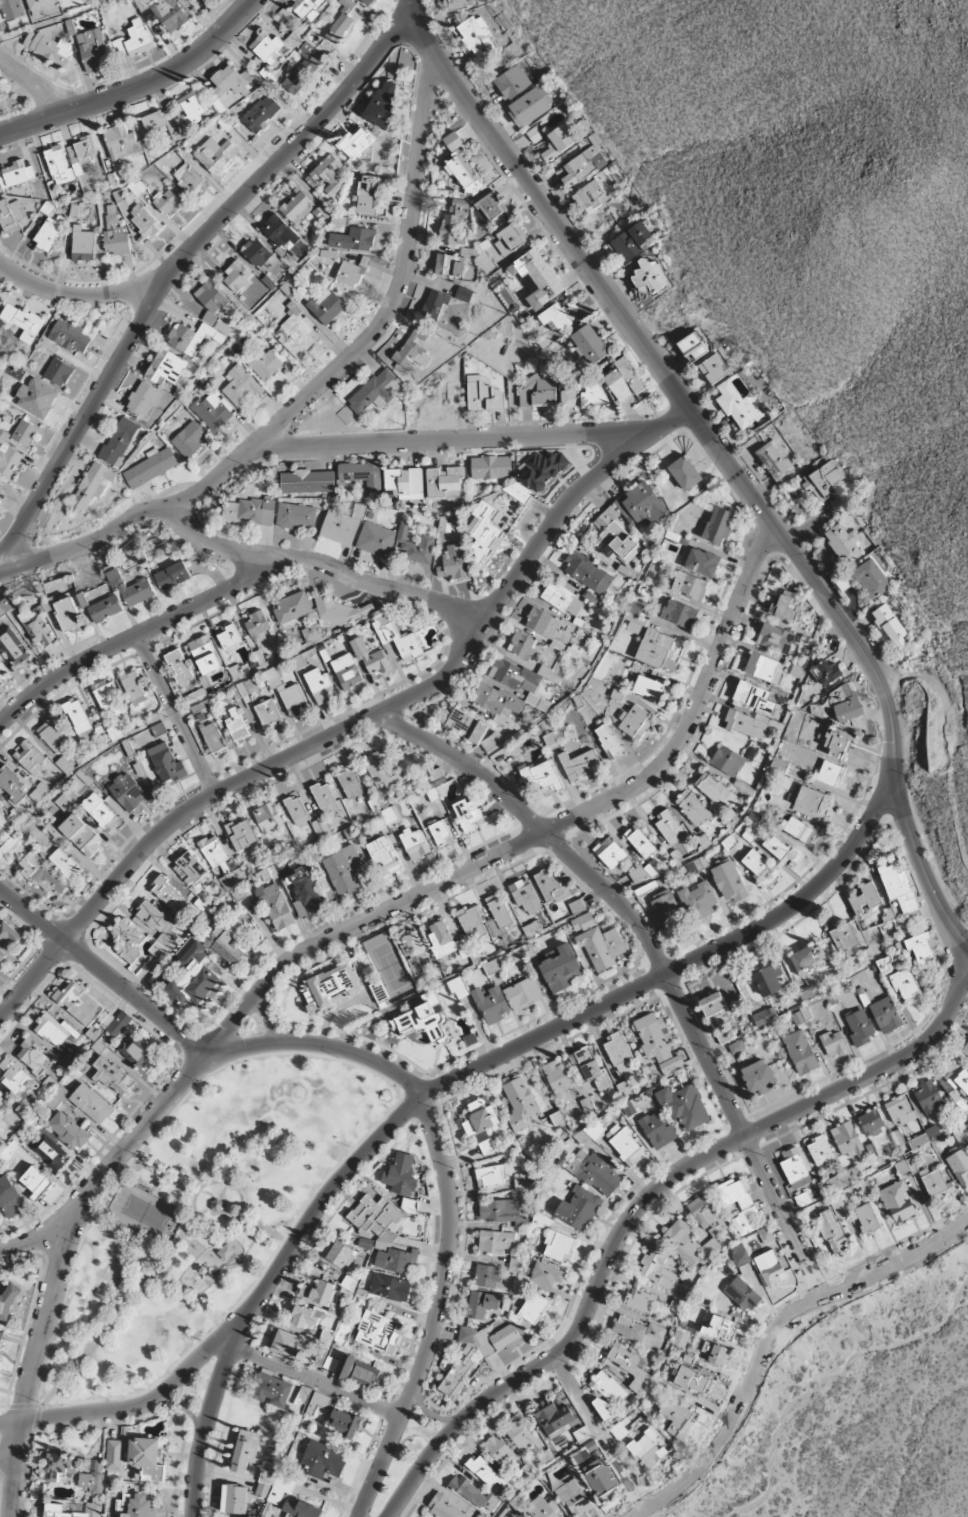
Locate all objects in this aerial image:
building: (193, 0)
building: (205, 0)
building: (368, 1)
building: (456, 3)
building: (39, 6)
building: (308, 7)
building: (11, 9)
building: (165, 12)
road: (56, 19)
building: (341, 23)
building: (477, 37)
building: (134, 39)
building: (267, 47)
building: (49, 48)
building: (93, 49)
building: (304, 68)
building: (232, 80)
building: (512, 82)
road: (32, 85)
road: (138, 87)
building: (382, 102)
building: (530, 105)
building: (193, 106)
building: (260, 113)
building: (161, 123)
building: (535, 134)
building: (121, 142)
building: (557, 142)
building: (356, 143)
building: (81, 153)
building: (216, 155)
building: (584, 163)
building: (58, 165)
building: (462, 165)
building: (17, 174)
building: (328, 175)
building: (370, 196)
building: (591, 196)
building: (168, 202)
building: (492, 205)
building: (297, 206)
building: (11, 215)
building: (145, 221)
building: (453, 223)
building: (280, 232)
building: (48, 233)
building: (115, 236)
building: (510, 238)
building: (353, 239)
building: (631, 240)
building: (83, 244)
building: (257, 253)
road: (175, 264)
building: (449, 264)
road: (1, 267)
building: (535, 268)
building: (350, 273)
building: (237, 276)
building: (649, 278)
road: (73, 293)
building: (464, 294)
building: (210, 296)
building: (435, 303)
building: (327, 306)
building: (555, 318)
building: (23, 321)
building: (214, 322)
building: (296, 331)
building: (70, 335)
building: (192, 337)
building: (590, 344)
building: (692, 347)
building: (414, 350)
building: (265, 361)
building: (167, 367)
building: (713, 369)
building: (59, 372)
building: (623, 379)
road: (317, 385)
building: (240, 386)
building: (537, 391)
building: (375, 392)
building: (483, 394)
building: (583, 396)
building: (37, 397)
building: (144, 399)
building: (736, 405)
building: (212, 411)
building: (25, 433)
building: (189, 439)
road: (445, 440)
building: (119, 441)
building: (9, 459)
building: (774, 459)
road: (724, 460)
building: (491, 466)
building: (151, 467)
building: (543, 468)
building: (684, 473)
building: (362, 474)
building: (824, 479)
building: (307, 481)
building: (405, 482)
building: (446, 482)
building: (1, 484)
building: (93, 485)
building: (641, 505)
building: (250, 511)
building: (296, 516)
building: (719, 525)
building: (340, 527)
building: (484, 530)
building: (376, 539)
building: (844, 543)
building: (413, 545)
building: (700, 561)
building: (453, 562)
road: (325, 563)
building: (587, 571)
building: (173, 576)
building: (871, 578)
building: (690, 586)
building: (138, 591)
building: (562, 598)
building: (7, 605)
building: (786, 606)
building: (293, 607)
building: (105, 609)
building: (679, 613)
building: (67, 614)
building: (258, 624)
building: (549, 625)
building: (891, 626)
building: (38, 627)
building: (310, 634)
road: (135, 637)
building: (397, 637)
building: (776, 638)
building: (230, 639)
building: (650, 639)
building: (13, 645)
building: (522, 646)
building: (204, 654)
building: (1, 657)
building: (370, 657)
building: (179, 666)
building: (764, 668)
building: (2, 671)
building: (347, 671)
building: (825, 671)
building: (519, 681)
building: (320, 686)
building: (648, 687)
building: (134, 688)
building: (288, 693)
building: (753, 697)
building: (107, 698)
building: (498, 703)
building: (847, 703)
building: (267, 712)
building: (78, 716)
road: (176, 716)
building: (634, 720)
road: (356, 724)
building: (747, 724)
building: (237, 726)
building: (466, 726)
building: (54, 734)
building: (213, 737)
building: (608, 740)
building: (839, 741)
building: (29, 756)
building: (727, 760)
building: (580, 763)
building: (166, 764)
building: (779, 764)
building: (382, 772)
building: (831, 775)
building: (541, 777)
building: (350, 781)
building: (435, 783)
building: (12, 784)
building: (715, 790)
building: (127, 791)
building: (325, 798)
building: (813, 800)
building: (0, 805)
building: (693, 807)
building: (296, 810)
building: (100, 811)
building: (469, 814)
building: (385, 817)
building: (268, 818)
building: (668, 825)
building: (321, 828)
building: (798, 829)
building: (441, 833)
building: (81, 834)
building: (242, 834)
road: (541, 834)
building: (641, 842)
building: (414, 843)
building: (213, 850)
building: (780, 851)
building: (610, 852)
building: (384, 856)
building: (65, 863)
building: (190, 868)
building: (761, 868)
building: (345, 870)
building: (642, 872)
building: (40, 873)
building: (729, 880)
building: (552, 886)
building: (899, 888)
building: (304, 891)
building: (170, 895)
building: (525, 896)
building: (865, 898)
building: (698, 901)
building: (276, 906)
building: (668, 910)
building: (498, 915)
building: (472, 924)
building: (156, 928)
building: (215, 934)
building: (6, 937)
building: (129, 939)
building: (846, 939)
building: (444, 940)
building: (598, 942)
building: (232, 943)
building: (412, 945)
building: (920, 948)
building: (807, 959)
road: (659, 961)
road: (680, 968)
building: (561, 969)
road: (103, 972)
building: (193, 974)
building: (773, 979)
building: (331, 980)
building: (905, 983)
building: (521, 995)
building: (79, 1003)
building: (491, 1004)
building: (713, 1005)
building: (886, 1015)
road: (269, 1018)
building: (423, 1019)
building: (115, 1023)
building: (859, 1026)
building: (53, 1030)
building: (655, 1037)
building: (833, 1043)
building: (736, 1046)
road: (320, 1048)
building: (965, 1049)
building: (138, 1051)
building: (619, 1052)
building: (800, 1052)
building: (33, 1056)
building: (588, 1067)
road: (371, 1073)
building: (112, 1076)
building: (558, 1077)
building: (758, 1077)
building: (958, 1077)
building: (18, 1085)
building: (928, 1097)
building: (0, 1099)
building: (520, 1104)
building: (684, 1106)
building: (900, 1110)
building: (480, 1117)
building: (871, 1122)
building: (654, 1126)
building: (68, 1130)
building: (591, 1132)
road: (132, 1141)
building: (849, 1141)
building: (625, 1144)
building: (819, 1149)
building: (51, 1152)
building: (960, 1165)
building: (795, 1168)
building: (595, 1172)
road: (159, 1173)
building: (401, 1175)
building: (490, 1175)
building: (36, 1181)
building: (838, 1181)
building: (937, 1183)
road: (158, 1185)
road: (222, 1193)
building: (10, 1198)
road: (649, 1198)
building: (898, 1201)
building: (745, 1203)
building: (835, 1204)
building: (217, 1205)
road: (217, 1205)
building: (579, 1208)
park: (146, 1210)
building: (502, 1211)
road: (316, 1214)
building: (708, 1214)
building: (374, 1215)
road: (197, 1217)
park: (202, 1219)
building: (867, 1219)
building: (832, 1229)
road: (266, 1230)
road: (183, 1238)
building: (681, 1240)
road: (34, 1241)
building: (496, 1241)
road: (900, 1241)
building: (558, 1245)
road: (244, 1252)
building: (739, 1254)
building: (339, 1256)
building: (398, 1260)
building: (516, 1262)
building: (769, 1268)
building: (657, 1270)
building: (548, 1275)
building: (487, 1276)
road: (816, 1283)
building: (390, 1288)
building: (318, 1292)
building: (742, 1294)
building: (640, 1298)
building: (8, 1304)
building: (481, 1304)
road: (117, 1309)
building: (532, 1309)
road: (432, 1310)
building: (305, 1316)
building: (718, 1326)
building: (629, 1328)
road: (44, 1329)
building: (655, 1331)
building: (379, 1332)
building: (1, 1336)
building: (680, 1337)
building: (491, 1338)
road: (772, 1338)
building: (286, 1342)
building: (716, 1353)
building: (630, 1365)
building: (345, 1366)
building: (460, 1371)
building: (365, 1375)
road: (317, 1380)
building: (692, 1380)
building: (608, 1387)
road: (822, 1387)
building: (272, 1390)
road: (728, 1391)
building: (303, 1395)
building: (318, 1401)
road: (38, 1405)
road: (135, 1407)
building: (603, 1408)
road: (186, 1409)
park: (859, 1412)
road: (431, 1414)
building: (677, 1416)
building: (554, 1418)
building: (344, 1422)
road: (10, 1424)
building: (621, 1428)
road: (205, 1429)
building: (521, 1433)
building: (581, 1434)
road: (602, 1434)
road: (8, 1445)
building: (647, 1449)
building: (245, 1450)
building: (501, 1450)
building: (114, 1455)
building: (146, 1459)
building: (322, 1460)
building: (62, 1468)
road: (15, 1469)
building: (489, 1473)
building: (266, 1479)
building: (601, 1479)
building: (285, 1482)
building: (473, 1493)
building: (574, 1495)
road: (637, 1495)
building: (236, 1499)
building: (134, 1506)
building: (443, 1507)
building: (536, 1507)
building: (54, 1508)
road: (617, 1508)
building: (302, 1510)
building: (508, 1513)
building: (481, 1515)

